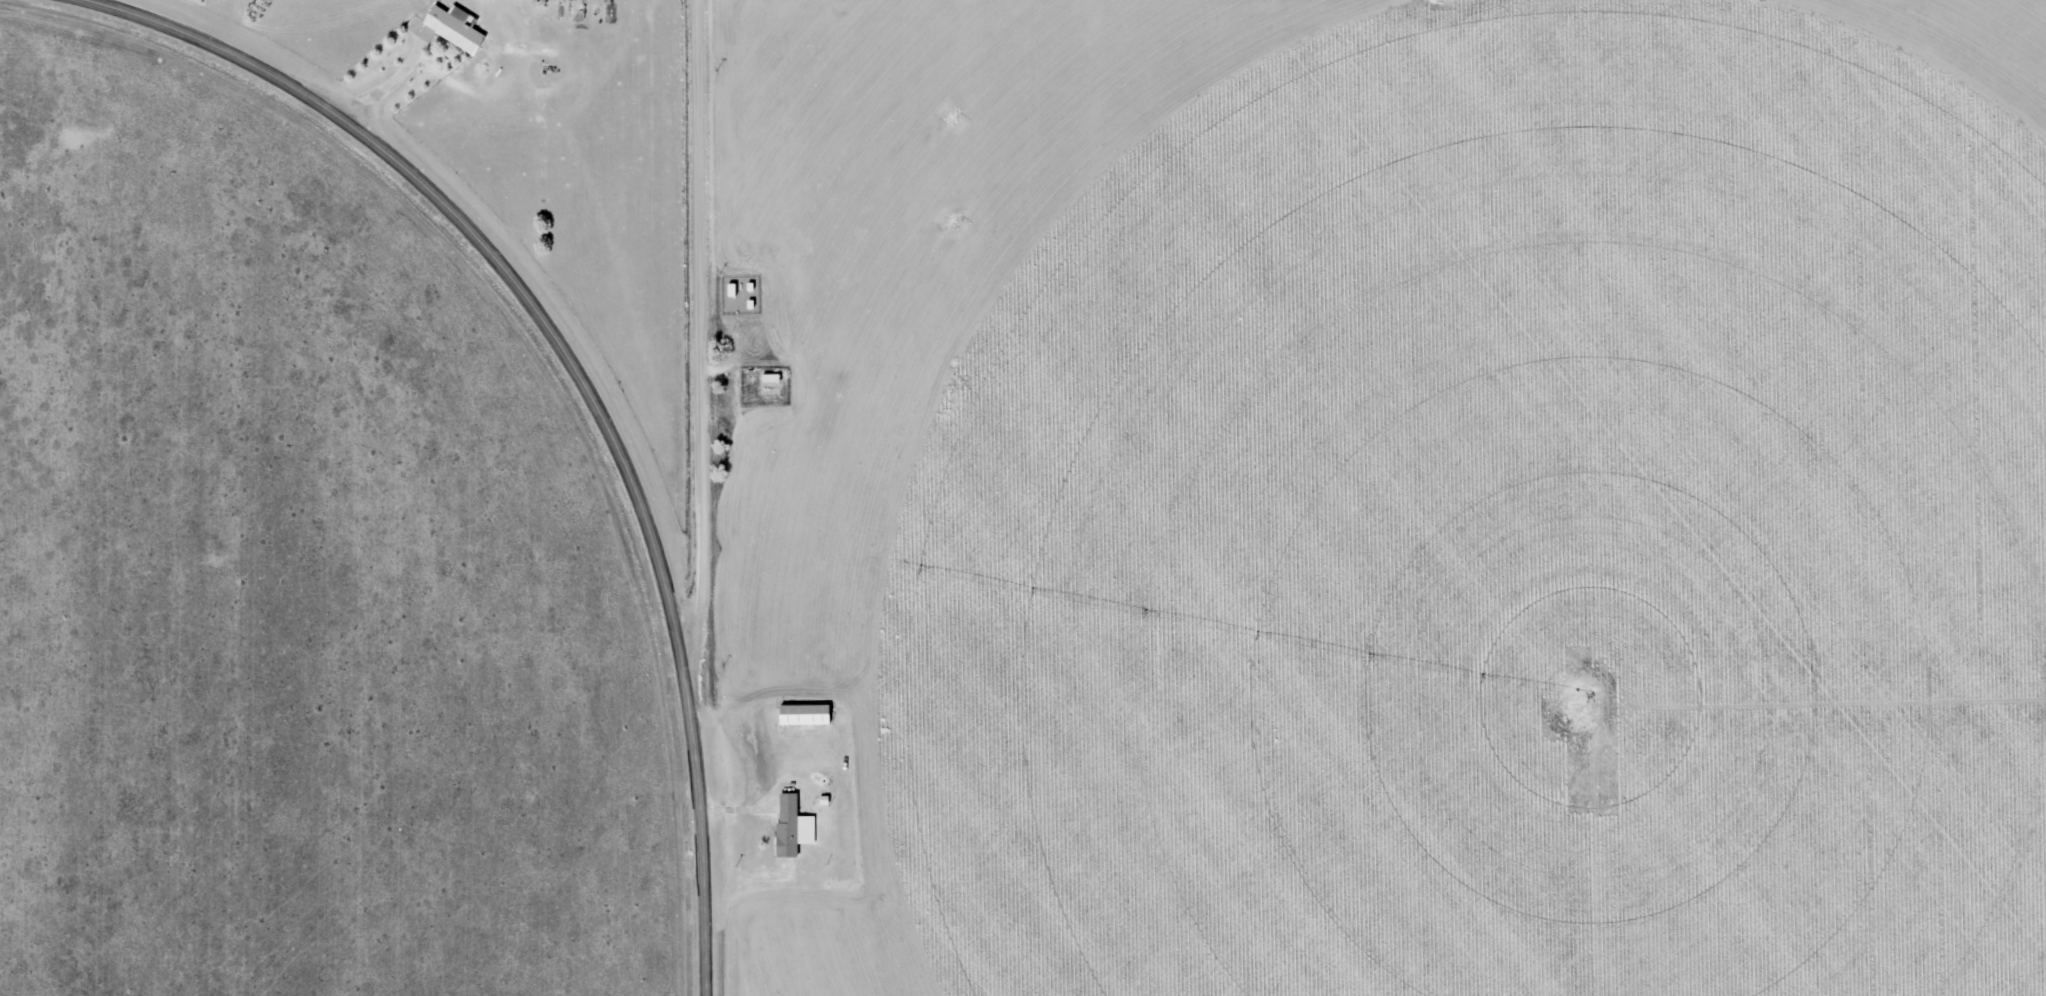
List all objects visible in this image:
building: (453, 28)
road: (699, 334)
road: (575, 375)
building: (767, 381)
building: (800, 715)
building: (788, 826)

